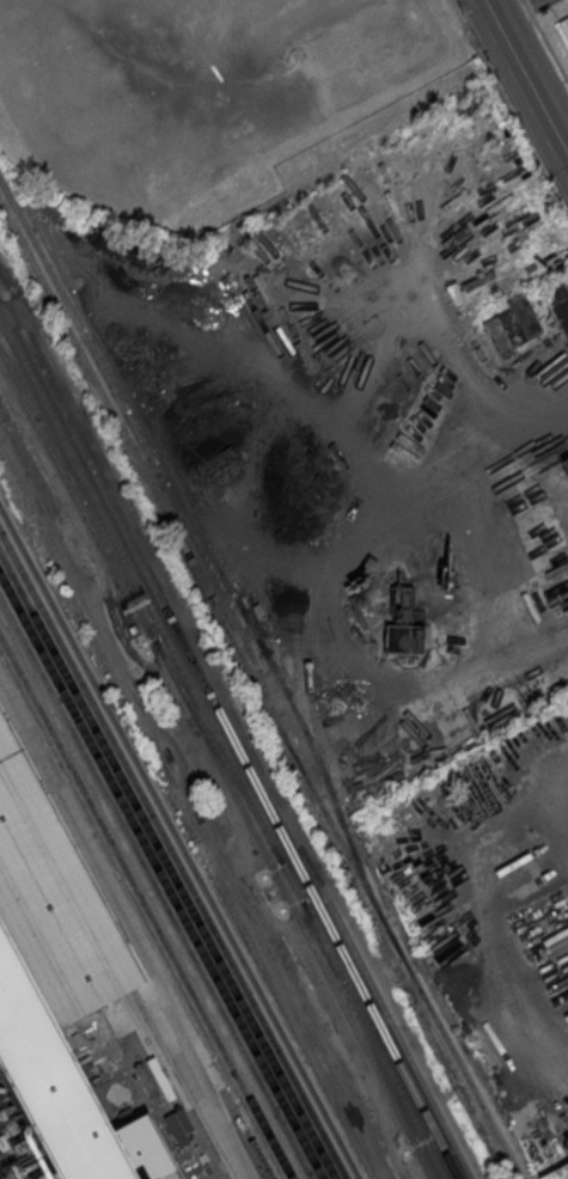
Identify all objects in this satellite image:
road: (509, 10)
building: (564, 26)
road: (525, 79)
road: (561, 132)
building: (238, 154)
building: (558, 300)
building: (514, 324)
road: (521, 428)
railway: (147, 452)
railway: (81, 472)
railway: (182, 497)
railway: (317, 579)
railway: (261, 688)
railway: (228, 734)
railway: (218, 751)
railway: (218, 764)
railway: (179, 843)
railway: (172, 855)
railway: (166, 866)
railway: (160, 876)
railway: (155, 887)
railway: (304, 905)
railway: (146, 906)
railway: (366, 976)
building: (51, 1006)
railway: (367, 1018)
road: (208, 1093)
building: (557, 1173)

